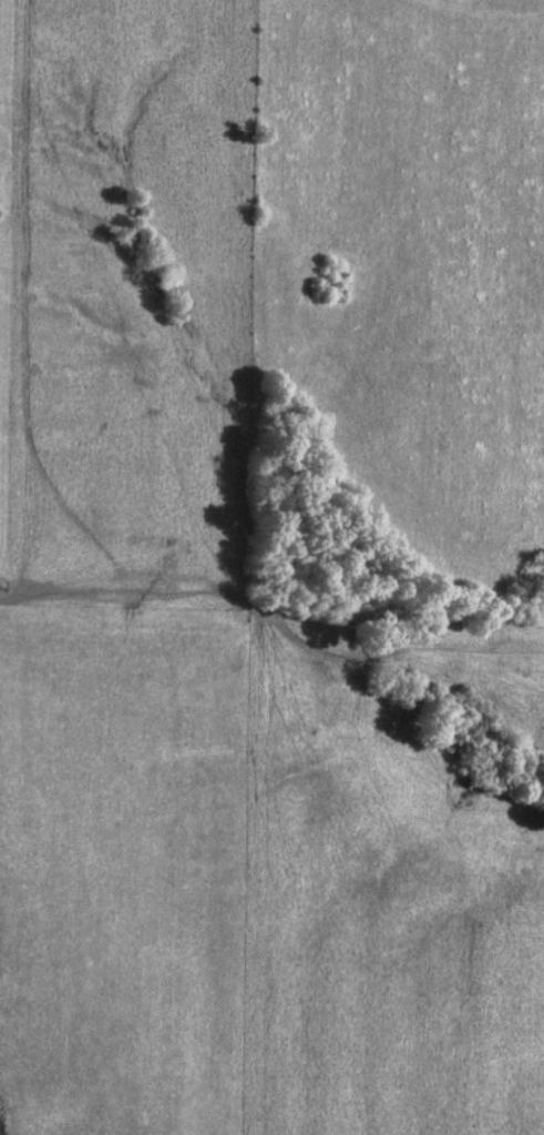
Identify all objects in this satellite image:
road: (483, 10)

